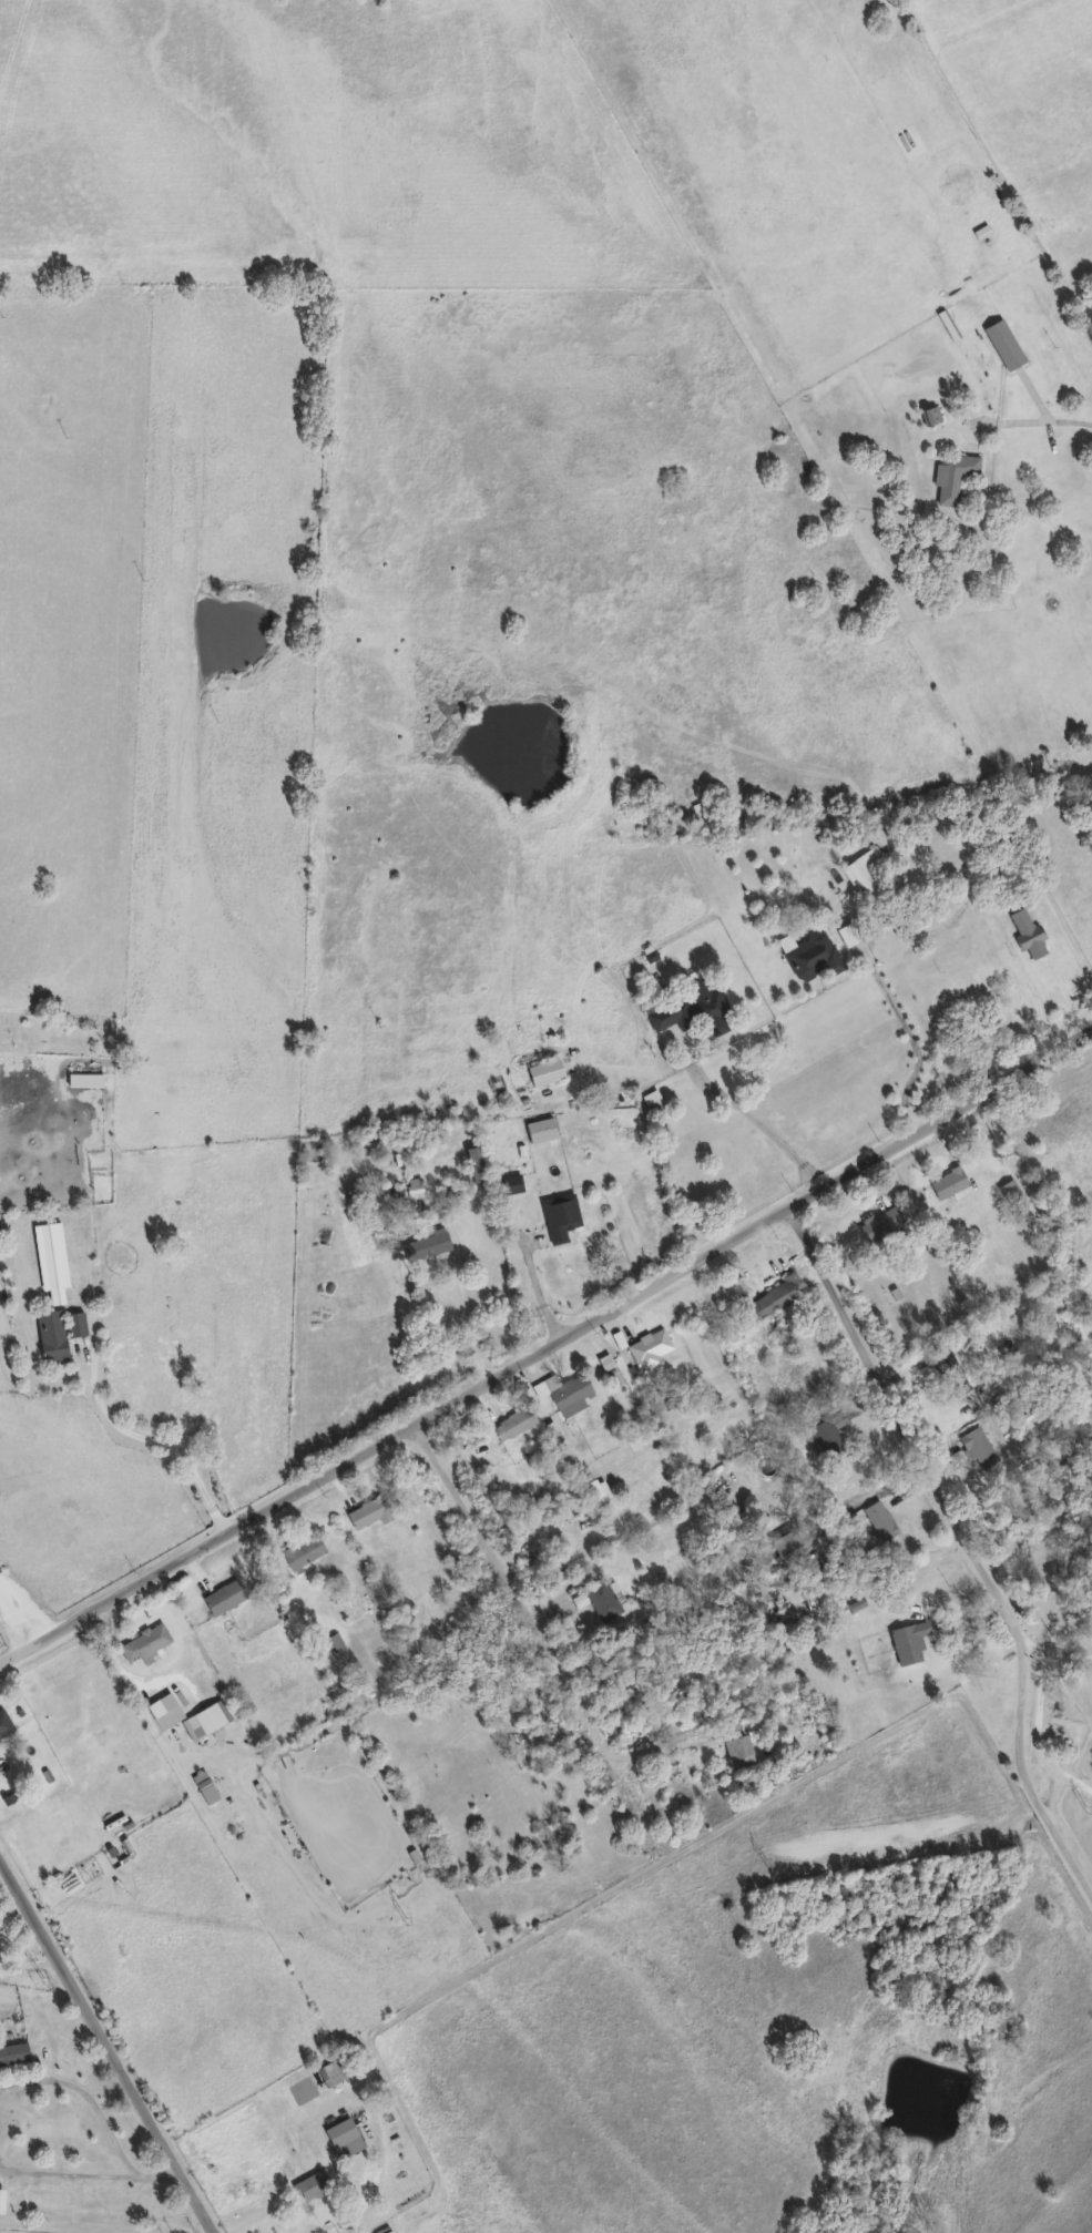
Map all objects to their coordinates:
building: (1003, 343)
road: (1054, 422)
building: (952, 476)
building: (868, 873)
road: (1062, 928)
building: (846, 932)
building: (1027, 932)
building: (810, 954)
building: (693, 1007)
road: (908, 1037)
building: (543, 1070)
building: (651, 1098)
road: (756, 1115)
building: (539, 1129)
building: (473, 1162)
building: (947, 1181)
building: (509, 1182)
building: (1009, 1190)
building: (558, 1215)
building: (879, 1223)
building: (425, 1242)
building: (49, 1260)
road: (535, 1289)
building: (774, 1296)
road: (463, 1321)
building: (55, 1333)
road: (548, 1344)
building: (647, 1348)
building: (950, 1372)
building: (1012, 1373)
building: (569, 1395)
road: (902, 1408)
building: (511, 1424)
road: (133, 1434)
building: (825, 1438)
building: (978, 1448)
building: (722, 1508)
building: (367, 1511)
building: (877, 1520)
building: (782, 1542)
building: (300, 1551)
road: (513, 1594)
building: (223, 1597)
building: (814, 1599)
building: (600, 1600)
road: (17, 1612)
building: (331, 1640)
building: (908, 1641)
building: (144, 1644)
road: (1057, 1654)
road: (125, 1678)
building: (191, 1715)
building: (3, 1723)
road: (1038, 1727)
building: (734, 1745)
road: (665, 1748)
road: (1022, 1755)
building: (203, 1786)
power tower: (1084, 1808)
power tower: (765, 1860)
power tower: (404, 1919)
road: (28, 1962)
road: (109, 2046)
building: (12, 2051)
building: (333, 2069)
road: (90, 2087)
building: (341, 2137)
road: (163, 2168)
road: (375, 2168)
road: (65, 2170)
building: (312, 2184)
building: (43, 2199)

